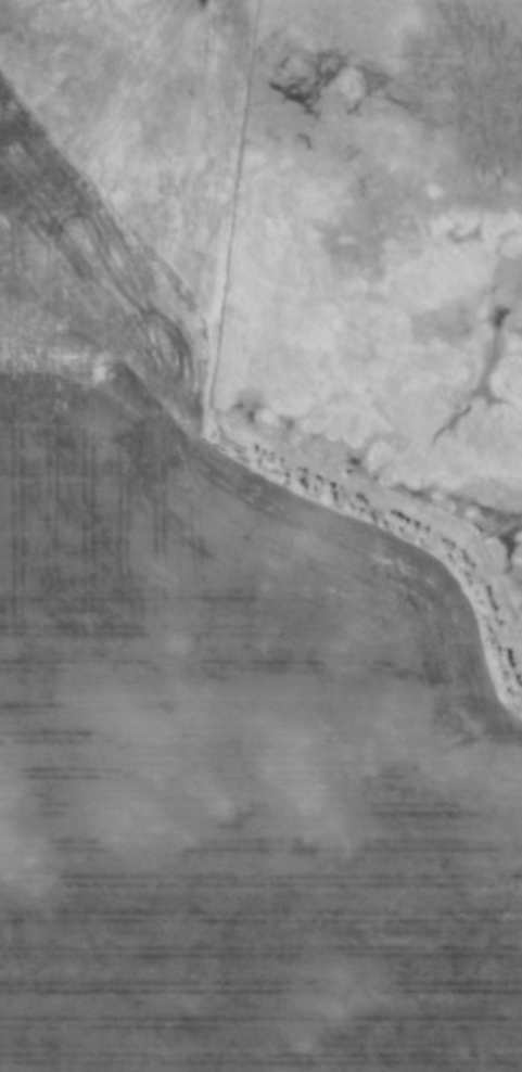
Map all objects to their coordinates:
building: (5, 872)
building: (23, 931)

